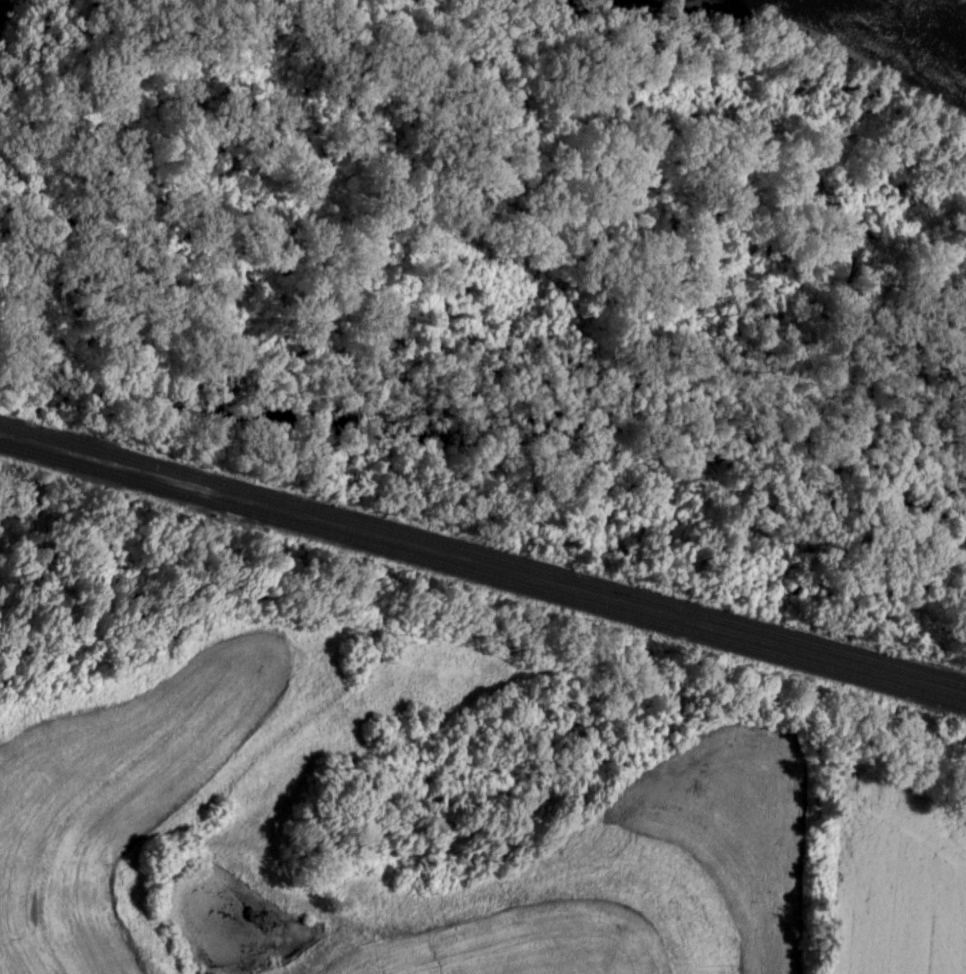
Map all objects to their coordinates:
railway: (482, 556)
railway: (483, 575)

